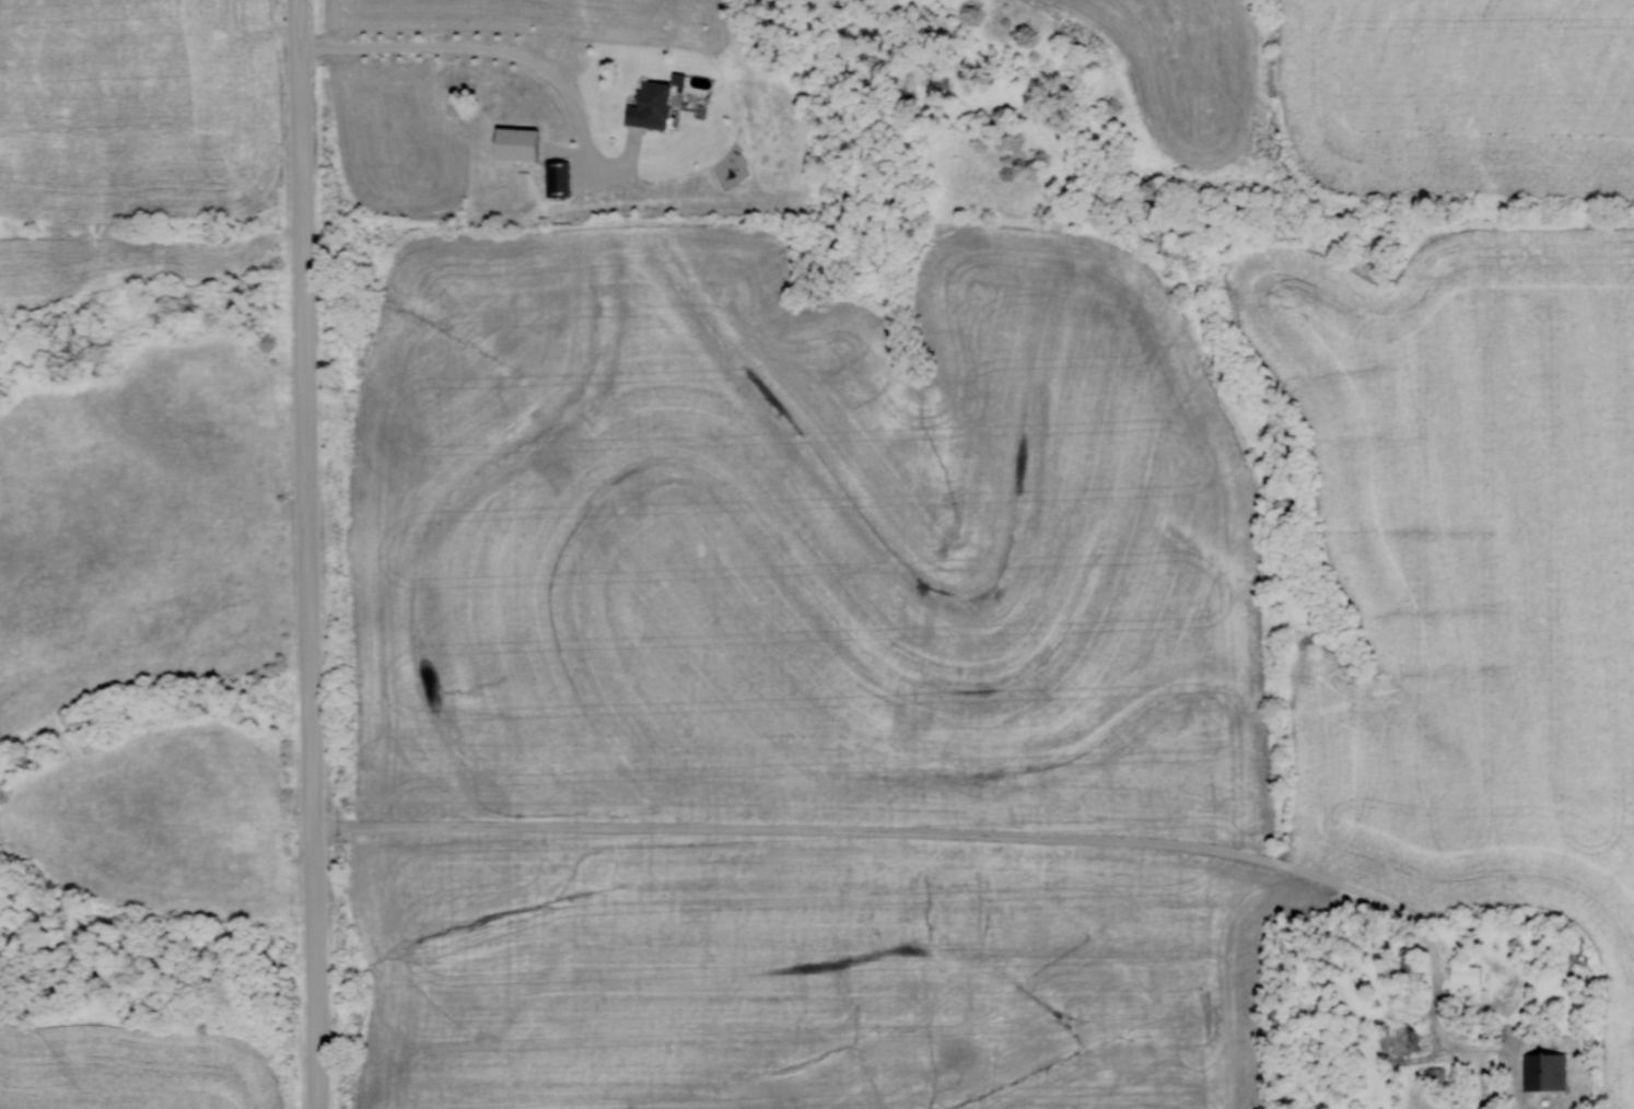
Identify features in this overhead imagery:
building: (656, 107)
building: (560, 178)
road: (331, 554)
building: (1469, 974)
building: (1547, 1072)
road: (713, 1074)

